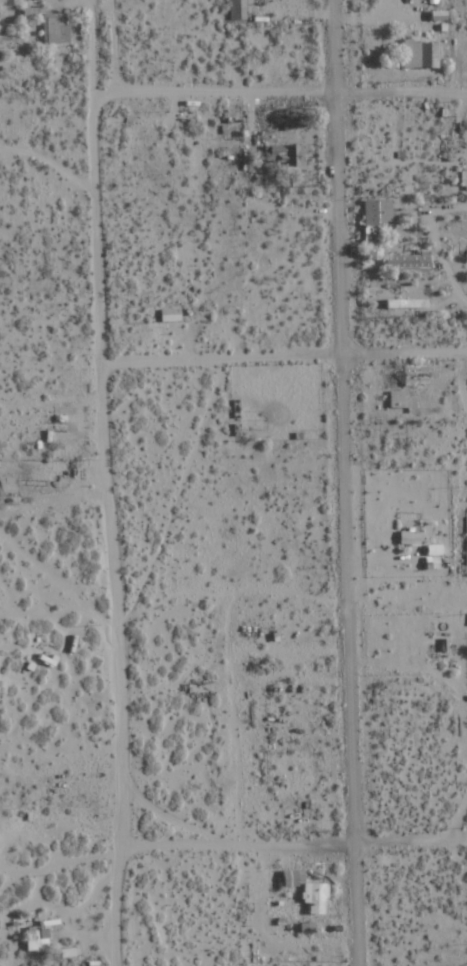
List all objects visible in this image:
building: (235, 10)
building: (53, 28)
road: (112, 45)
building: (419, 54)
road: (290, 91)
building: (282, 155)
building: (374, 218)
building: (407, 261)
road: (283, 355)
building: (415, 376)
building: (399, 402)
road: (344, 482)
building: (8, 502)
road: (110, 522)
building: (408, 538)
road: (292, 841)
building: (307, 892)
building: (39, 939)

